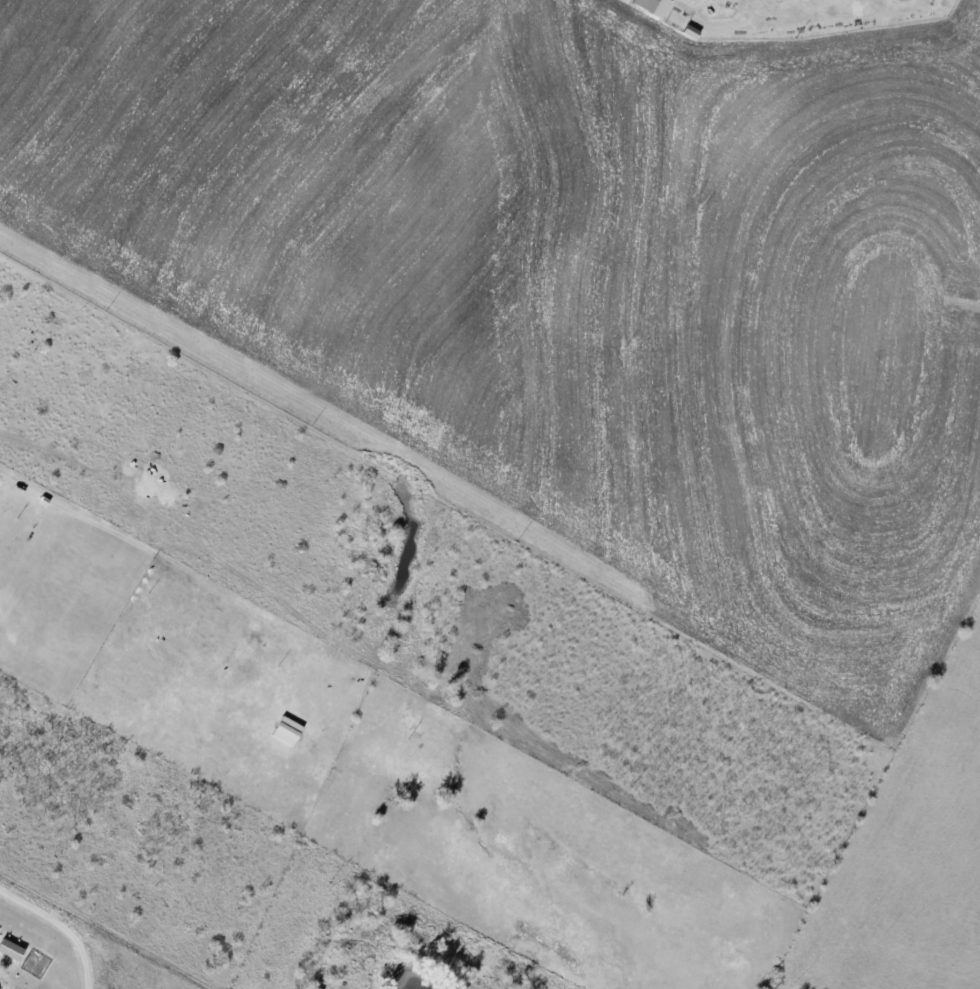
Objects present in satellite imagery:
building: (656, 6)
road: (65, 923)
building: (13, 948)

